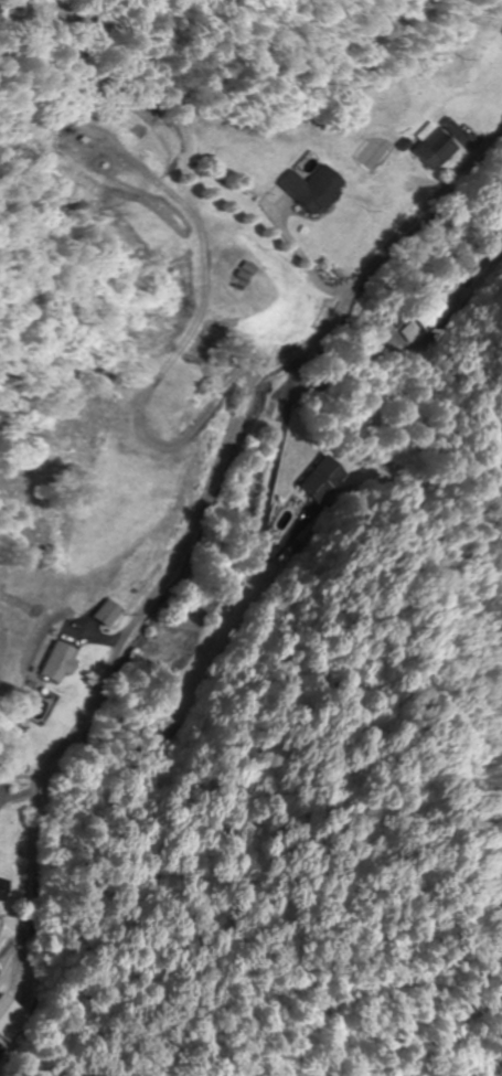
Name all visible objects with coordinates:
building: (438, 149)
building: (317, 189)
building: (499, 236)
building: (434, 312)
road: (173, 422)
building: (322, 480)
building: (165, 727)
building: (4, 888)
building: (9, 1019)

